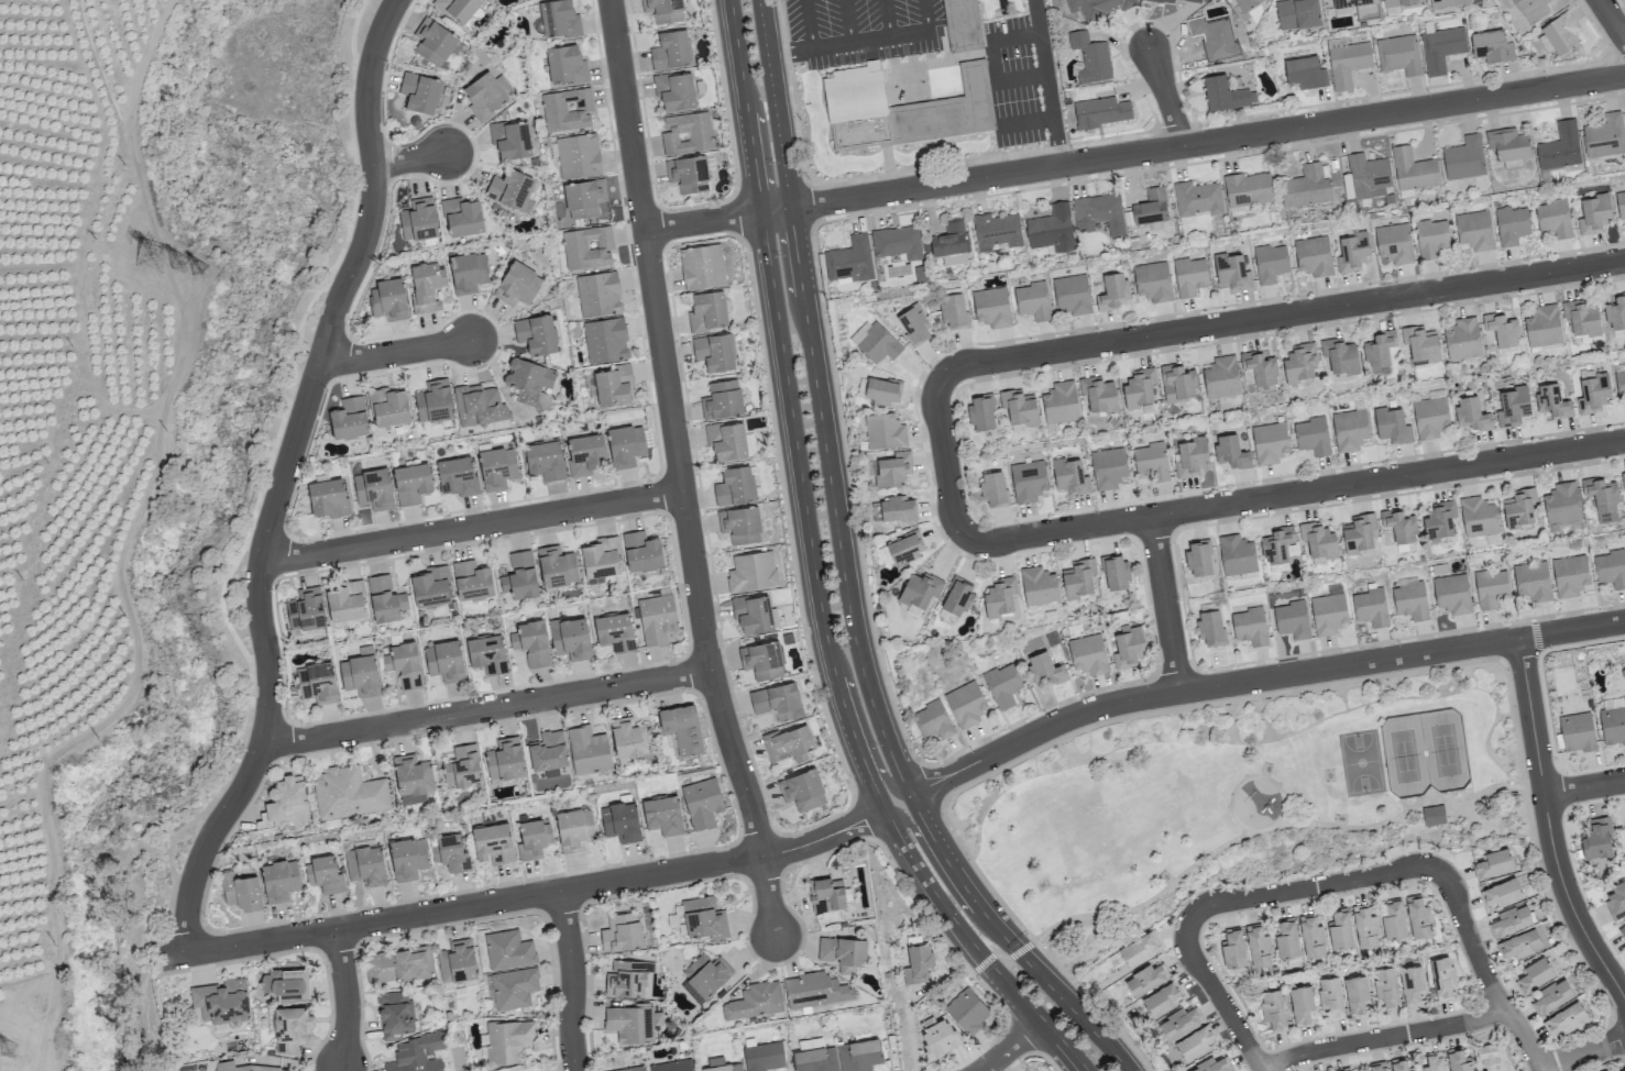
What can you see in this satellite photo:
building: (1173, 4)
building: (1248, 7)
building: (1353, 7)
building: (1402, 7)
building: (1450, 8)
building: (1104, 10)
building: (667, 11)
building: (460, 12)
building: (1540, 12)
road: (1612, 19)
building: (1300, 21)
road: (811, 25)
building: (561, 26)
building: (964, 29)
road: (888, 37)
building: (1563, 43)
building: (1216, 46)
building: (437, 49)
building: (676, 52)
road: (792, 54)
building: (1495, 56)
building: (1441, 57)
building: (480, 63)
building: (1399, 63)
building: (1091, 67)
building: (568, 73)
building: (1348, 73)
road: (1047, 81)
building: (1307, 81)
building: (679, 92)
road: (1165, 96)
road: (723, 97)
building: (421, 101)
building: (1228, 102)
road: (776, 103)
building: (487, 104)
road: (745, 106)
building: (567, 118)
building: (903, 118)
building: (1102, 121)
building: (689, 135)
building: (1604, 136)
building: (513, 146)
building: (1508, 146)
building: (1559, 146)
road: (1134, 152)
road: (409, 157)
building: (1464, 158)
building: (580, 164)
building: (1413, 169)
building: (693, 175)
building: (1368, 176)
building: (1306, 186)
building: (1248, 189)
building: (513, 198)
building: (1197, 199)
building: (1621, 203)
building: (585, 207)
building: (1151, 207)
building: (1098, 213)
building: (1593, 213)
building: (1553, 218)
building: (463, 224)
building: (1511, 224)
building: (422, 228)
building: (1051, 229)
building: (996, 230)
building: (1474, 231)
building: (1430, 238)
building: (897, 242)
building: (949, 243)
building: (1394, 243)
building: (588, 247)
building: (1352, 252)
building: (1314, 255)
power tower: (156, 258)
building: (849, 260)
building: (1270, 263)
power tower: (180, 265)
building: (1231, 270)
building: (468, 272)
power tower: (202, 273)
building: (704, 274)
building: (1189, 276)
building: (1152, 281)
building: (426, 285)
building: (517, 285)
building: (1112, 291)
building: (599, 294)
building: (1072, 295)
building: (388, 299)
building: (1032, 300)
building: (991, 307)
building: (953, 311)
building: (1616, 312)
building: (1581, 317)
road: (1283, 318)
building: (710, 320)
building: (914, 324)
building: (1542, 325)
building: (1502, 330)
building: (536, 334)
building: (1462, 339)
building: (605, 340)
building: (878, 344)
building: (1420, 344)
building: (1379, 349)
road: (395, 351)
building: (1339, 355)
building: (716, 360)
building: (1299, 362)
building: (1258, 368)
building: (1221, 377)
building: (1619, 382)
building: (529, 383)
building: (1177, 383)
building: (613, 386)
building: (1139, 387)
building: (881, 390)
building: (1098, 394)
building: (1592, 394)
building: (722, 400)
building: (1551, 400)
building: (433, 401)
building: (1059, 402)
building: (479, 405)
building: (1513, 406)
building: (388, 407)
building: (1018, 407)
building: (980, 412)
building: (1470, 413)
building: (1430, 417)
building: (349, 418)
building: (1392, 426)
road: (672, 430)
building: (1350, 430)
building: (885, 431)
building: (1311, 435)
building: (726, 441)
building: (1269, 442)
building: (625, 444)
building: (1230, 452)
building: (584, 454)
building: (1190, 456)
building: (545, 460)
building: (1151, 461)
road: (948, 463)
building: (497, 467)
building: (1108, 467)
building: (891, 470)
road: (281, 476)
building: (457, 476)
building: (1070, 476)
building: (1623, 479)
building: (1028, 481)
building: (411, 483)
building: (734, 486)
road: (261, 488)
building: (992, 488)
building: (372, 489)
road: (1298, 495)
building: (328, 497)
building: (1603, 498)
building: (1561, 503)
road: (834, 505)
building: (1519, 508)
building: (897, 509)
road: (806, 514)
building: (1478, 517)
building: (1439, 520)
road: (470, 525)
building: (739, 525)
building: (1399, 526)
building: (1359, 532)
building: (1318, 540)
building: (1276, 548)
building: (1405, 548)
building: (900, 550)
building: (641, 551)
building: (1237, 554)
park: (238, 556)
building: (600, 557)
building: (1198, 557)
building: (556, 566)
building: (1611, 568)
building: (751, 572)
building: (1115, 572)
building: (1570, 575)
building: (519, 576)
building: (1078, 578)
building: (471, 581)
building: (1533, 581)
building: (430, 586)
building: (1039, 586)
building: (1491, 587)
building: (920, 589)
building: (1451, 594)
building: (957, 596)
building: (1000, 597)
building: (385, 599)
building: (1410, 599)
building: (345, 601)
road: (1166, 604)
building: (1370, 607)
building: (305, 609)
building: (753, 614)
building: (1328, 614)
building: (657, 619)
building: (1292, 619)
building: (1249, 626)
building: (1210, 628)
building: (614, 632)
building: (570, 638)
building: (530, 642)
building: (1128, 647)
building: (487, 654)
building: (1088, 654)
building: (761, 660)
building: (444, 661)
building: (404, 664)
building: (1043, 670)
building: (359, 675)
road: (1259, 677)
building: (317, 683)
building: (1002, 685)
building: (777, 702)
building: (965, 704)
road: (486, 707)
building: (932, 720)
building: (1613, 725)
building: (682, 728)
building: (1577, 731)
road: (867, 735)
building: (629, 739)
building: (789, 743)
park: (1425, 749)
building: (588, 750)
building: (548, 751)
building: (505, 759)
park: (1359, 760)
building: (461, 766)
building: (411, 779)
road: (1584, 786)
building: (802, 790)
park: (1258, 790)
building: (348, 793)
building: (285, 797)
building: (702, 803)
building: (662, 815)
building: (1432, 815)
building: (621, 821)
road: (1269, 827)
road: (1548, 827)
building: (574, 829)
building: (1596, 838)
building: (532, 839)
building: (493, 843)
building: (449, 852)
building: (407, 858)
building: (1493, 863)
building: (365, 865)
road: (934, 866)
building: (323, 874)
building: (278, 880)
road: (1310, 887)
building: (241, 891)
building: (1502, 893)
road: (767, 894)
building: (826, 894)
road: (526, 895)
building: (1616, 901)
building: (1418, 917)
building: (703, 918)
building: (1393, 920)
building: (1511, 920)
building: (1364, 926)
building: (1340, 928)
building: (622, 932)
building: (1623, 932)
building: (1311, 936)
building: (1286, 939)
road: (1008, 940)
building: (1519, 943)
road: (974, 946)
building: (1258, 946)
building: (1232, 948)
building: (508, 949)
building: (1137, 950)
building: (842, 953)
building: (457, 961)
building: (918, 963)
building: (398, 964)
road: (1483, 970)
building: (1534, 974)
building: (704, 976)
building: (1442, 976)
building: (1145, 979)
road: (572, 980)
building: (624, 981)
building: (286, 984)
building: (1412, 984)
building: (1386, 986)
building: (514, 987)
building: (814, 990)
building: (1355, 994)
road: (1218, 995)
building: (1330, 996)
road: (344, 997)
building: (1550, 997)
building: (1160, 1000)
building: (755, 1001)
building: (220, 1002)
building: (1300, 1004)
power tower: (41, 1008)
building: (1273, 1009)
building: (967, 1011)
building: (395, 1014)
building: (1564, 1018)
building: (1179, 1022)
building: (632, 1023)
building: (289, 1027)
building: (937, 1036)
road: (1383, 1038)
building: (508, 1041)
building: (1193, 1042)
building: (809, 1044)
road: (1009, 1046)
building: (1487, 1052)
power tower: (9, 1053)
building: (417, 1053)
road: (1583, 1053)
building: (858, 1055)
building: (765, 1056)
building: (815, 1059)
building: (1458, 1060)
building: (1434, 1062)
building: (1398, 1064)
building: (274, 1066)
building: (673, 1066)
building: (1211, 1066)
building: (1376, 1067)
building: (725, 1068)
building: (630, 1069)
building: (1346, 1070)

